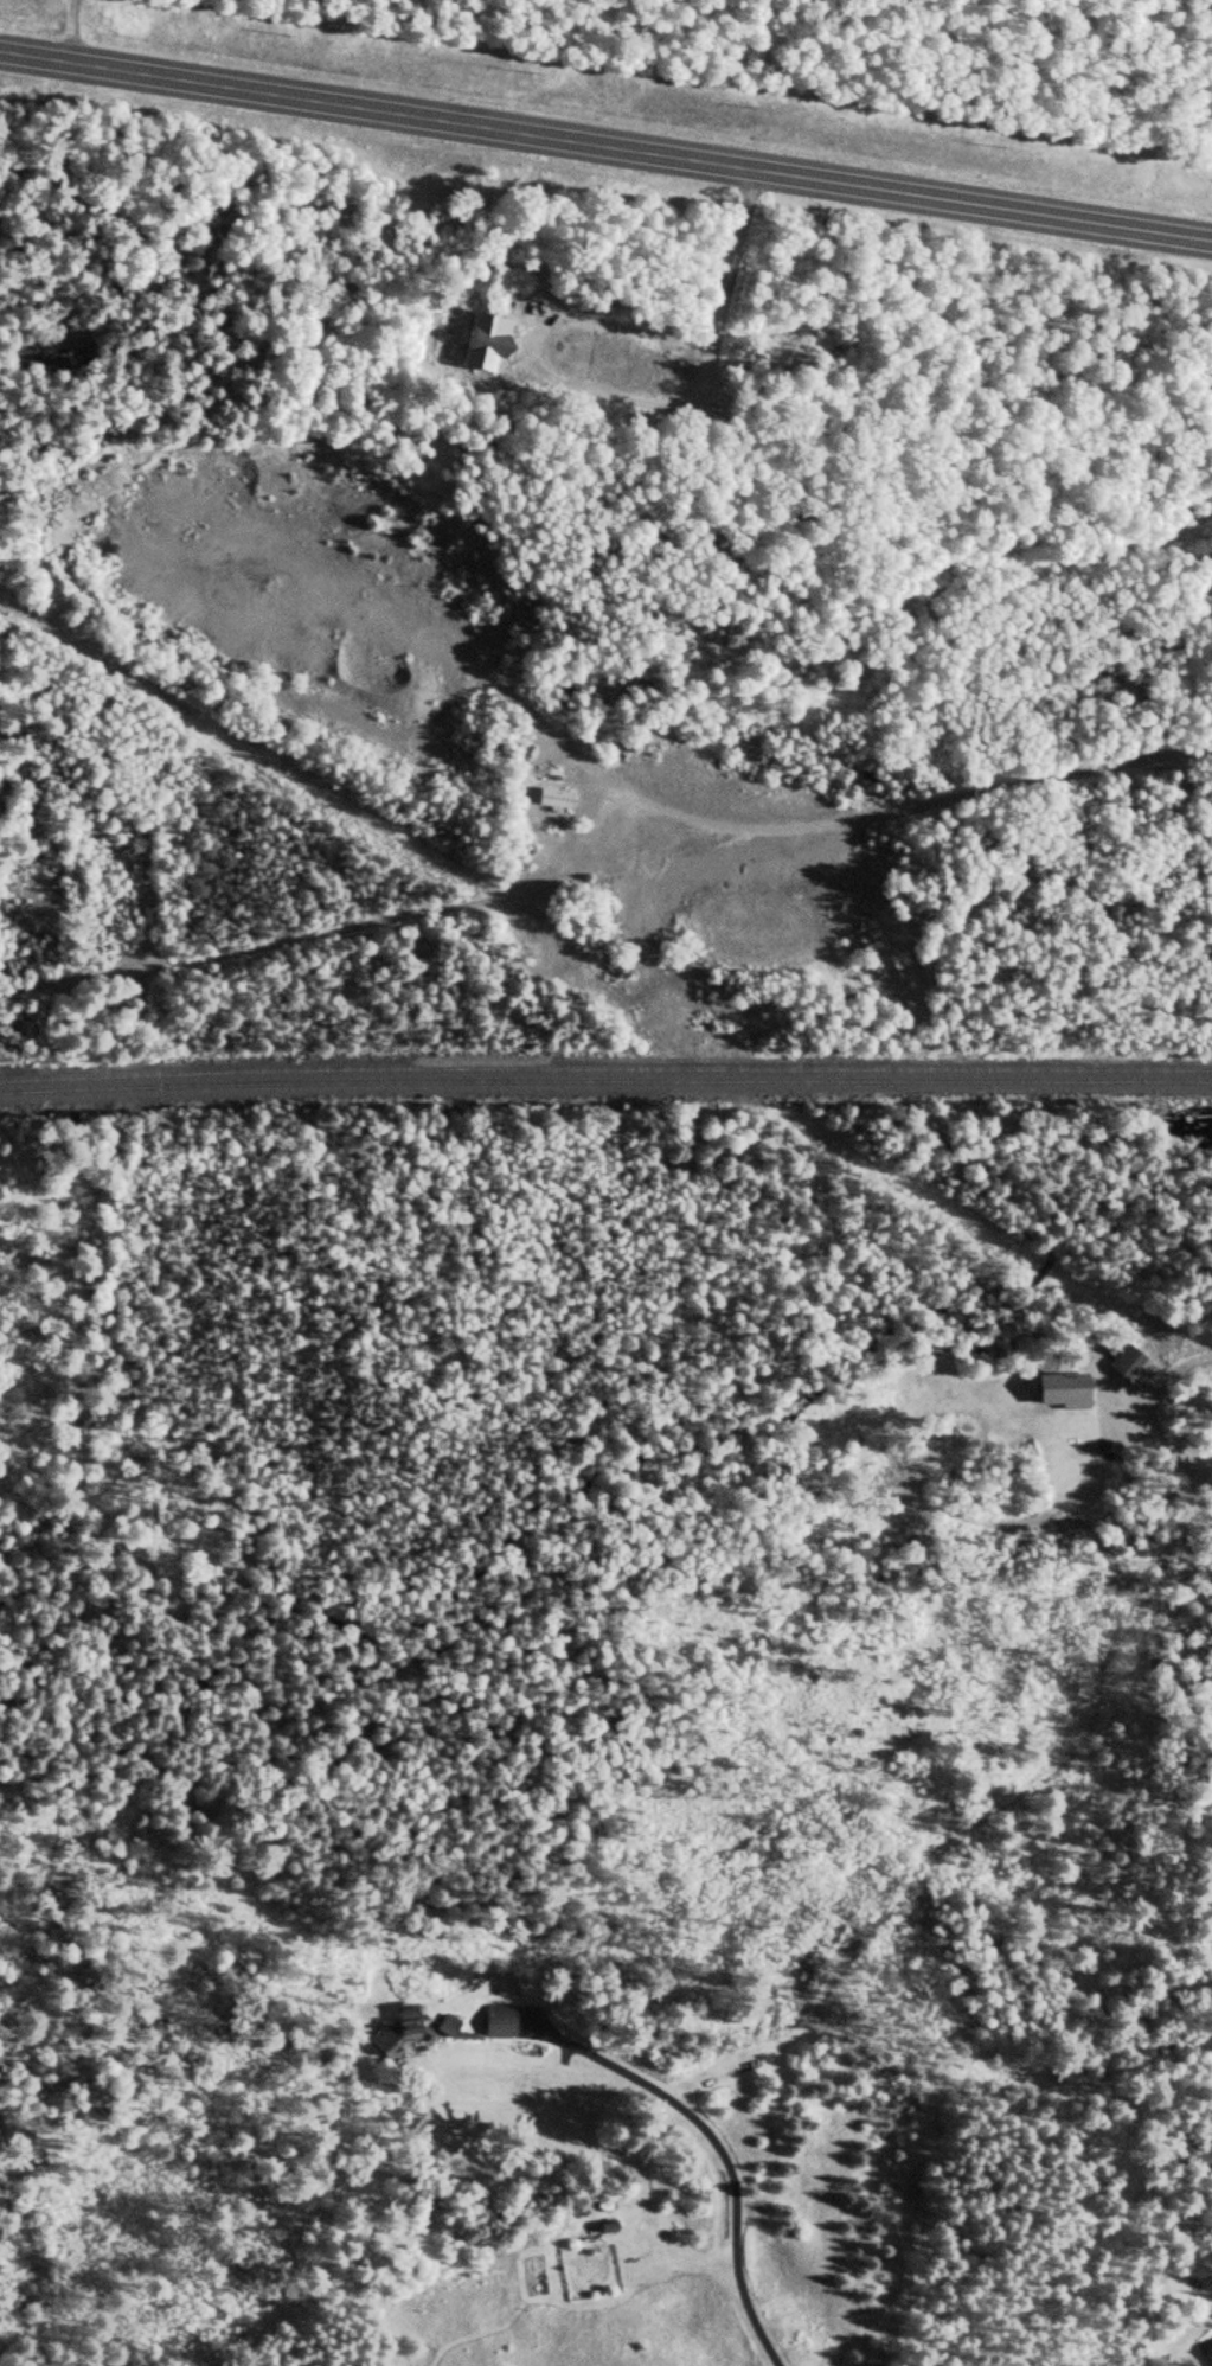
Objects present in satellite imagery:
road: (605, 147)
building: (481, 341)
building: (554, 800)
road: (607, 871)
railway: (605, 1079)
building: (1129, 1368)
building: (1060, 1392)
road: (1136, 1446)
building: (498, 2021)
building: (405, 2023)
building: (378, 2042)
road: (725, 2153)
building: (1208, 2358)

